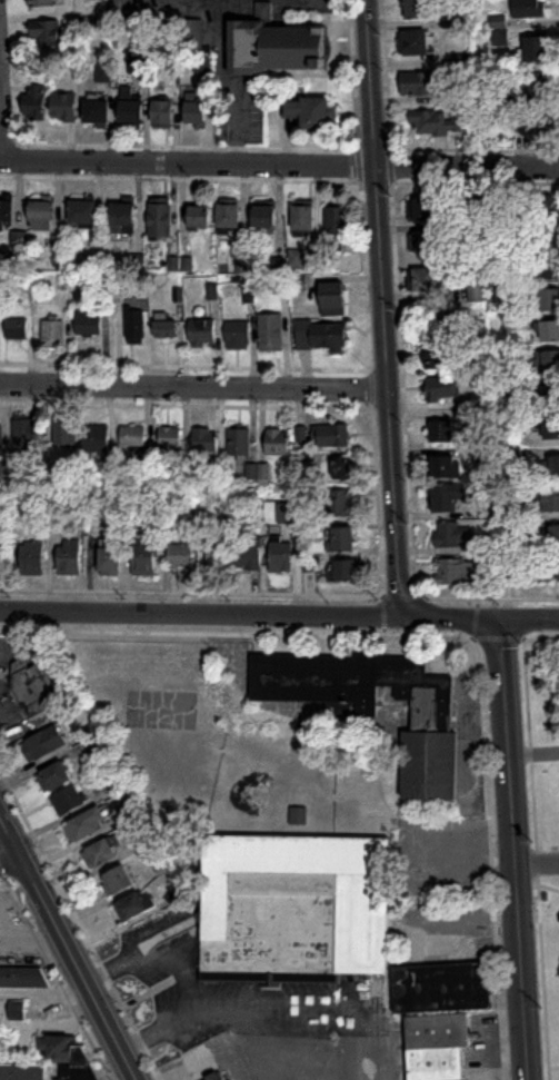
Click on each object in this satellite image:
building: (42, 3)
road: (237, 3)
road: (263, 3)
road: (320, 3)
building: (528, 7)
building: (417, 10)
building: (46, 33)
building: (190, 34)
building: (417, 43)
building: (277, 47)
building: (536, 48)
road: (227, 82)
building: (535, 83)
building: (421, 85)
building: (36, 98)
building: (64, 108)
building: (96, 113)
building: (131, 113)
building: (311, 113)
building: (162, 115)
building: (196, 115)
building: (532, 122)
road: (2, 125)
building: (436, 125)
road: (279, 164)
building: (537, 206)
building: (425, 211)
building: (6, 215)
building: (83, 215)
building: (42, 217)
building: (159, 218)
building: (199, 218)
building: (229, 218)
building: (263, 218)
building: (303, 218)
building: (122, 219)
building: (336, 228)
building: (547, 238)
building: (425, 246)
building: (297, 260)
building: (548, 270)
building: (425, 281)
building: (477, 293)
building: (332, 300)
building: (547, 301)
road: (382, 309)
building: (88, 324)
building: (134, 326)
building: (164, 327)
building: (16, 329)
building: (202, 333)
building: (270, 333)
building: (549, 333)
building: (53, 334)
building: (237, 334)
building: (320, 336)
building: (440, 355)
building: (546, 363)
road: (193, 388)
building: (442, 389)
building: (550, 396)
building: (551, 428)
building: (64, 433)
building: (441, 433)
building: (23, 435)
building: (332, 436)
building: (133, 437)
building: (1, 439)
building: (96, 439)
building: (170, 439)
building: (204, 440)
building: (239, 443)
building: (277, 443)
building: (445, 468)
building: (555, 468)
building: (340, 469)
building: (447, 498)
building: (549, 499)
building: (339, 504)
building: (452, 536)
building: (555, 536)
building: (341, 541)
building: (216, 556)
building: (280, 556)
building: (180, 557)
building: (248, 557)
building: (69, 558)
building: (109, 558)
building: (142, 558)
building: (32, 559)
building: (345, 571)
building: (457, 573)
road: (199, 614)
road: (450, 620)
road: (530, 621)
building: (33, 686)
building: (376, 704)
building: (43, 743)
road: (535, 752)
building: (54, 776)
building: (68, 801)
building: (84, 825)
road: (515, 850)
building: (99, 854)
road: (8, 858)
road: (537, 862)
building: (117, 880)
building: (133, 905)
building: (293, 909)
road: (66, 952)
road: (186, 973)
building: (21, 977)
road: (40, 987)
building: (16, 1010)
building: (440, 1013)
building: (56, 1048)
building: (22, 1071)
building: (77, 1072)
road: (168, 1073)
building: (214, 1078)

